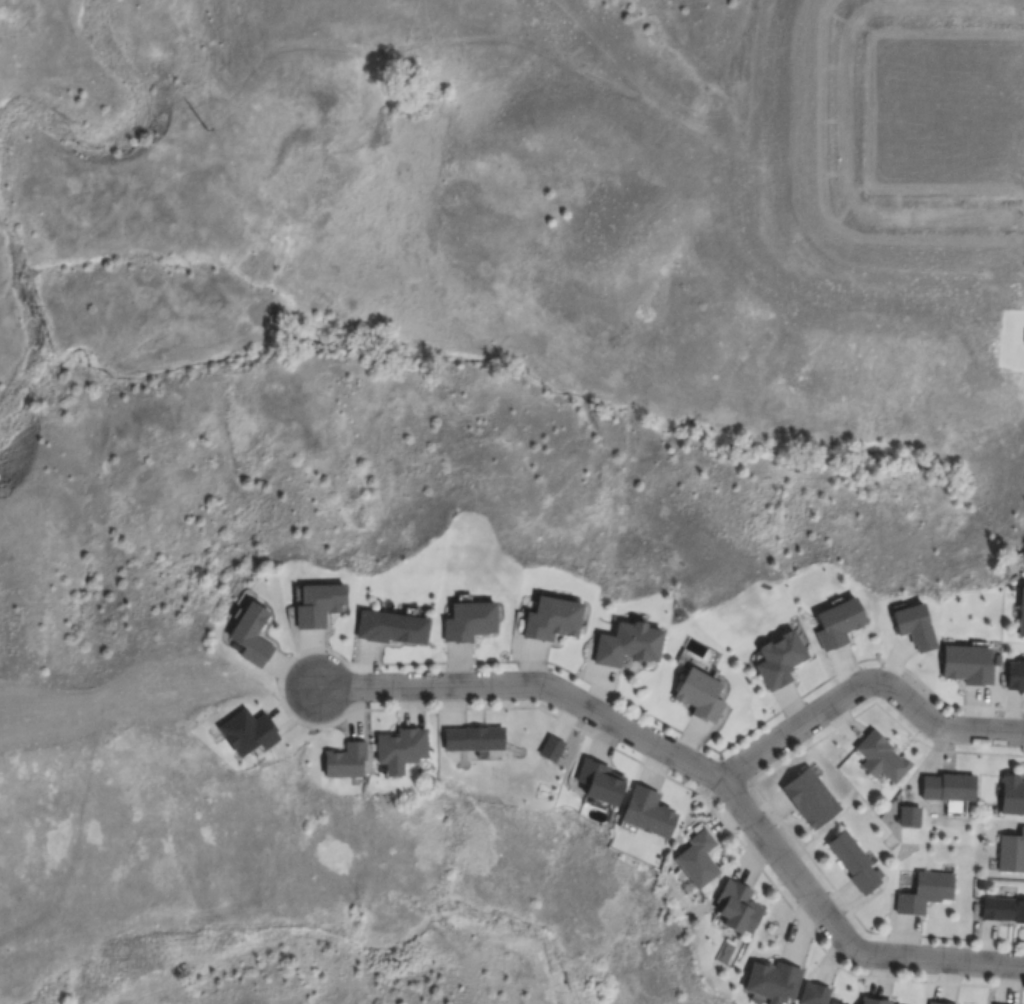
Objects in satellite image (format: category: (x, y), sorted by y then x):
building: (319, 609)
building: (1021, 617)
building: (552, 622)
building: (837, 622)
building: (471, 625)
building: (390, 626)
building: (915, 627)
building: (253, 637)
building: (627, 647)
building: (778, 658)
building: (968, 666)
building: (1016, 677)
road: (532, 682)
road: (868, 690)
building: (702, 698)
building: (249, 737)
building: (474, 740)
building: (403, 749)
building: (551, 751)
building: (879, 757)
building: (346, 763)
building: (601, 782)
building: (947, 786)
building: (1011, 794)
building: (814, 800)
building: (907, 815)
building: (650, 817)
building: (1010, 850)
building: (700, 861)
building: (856, 866)
building: (927, 894)
building: (737, 906)
building: (1001, 909)
road: (842, 933)
building: (771, 980)
building: (813, 996)
building: (874, 999)
building: (937, 1002)
building: (831, 1003)

